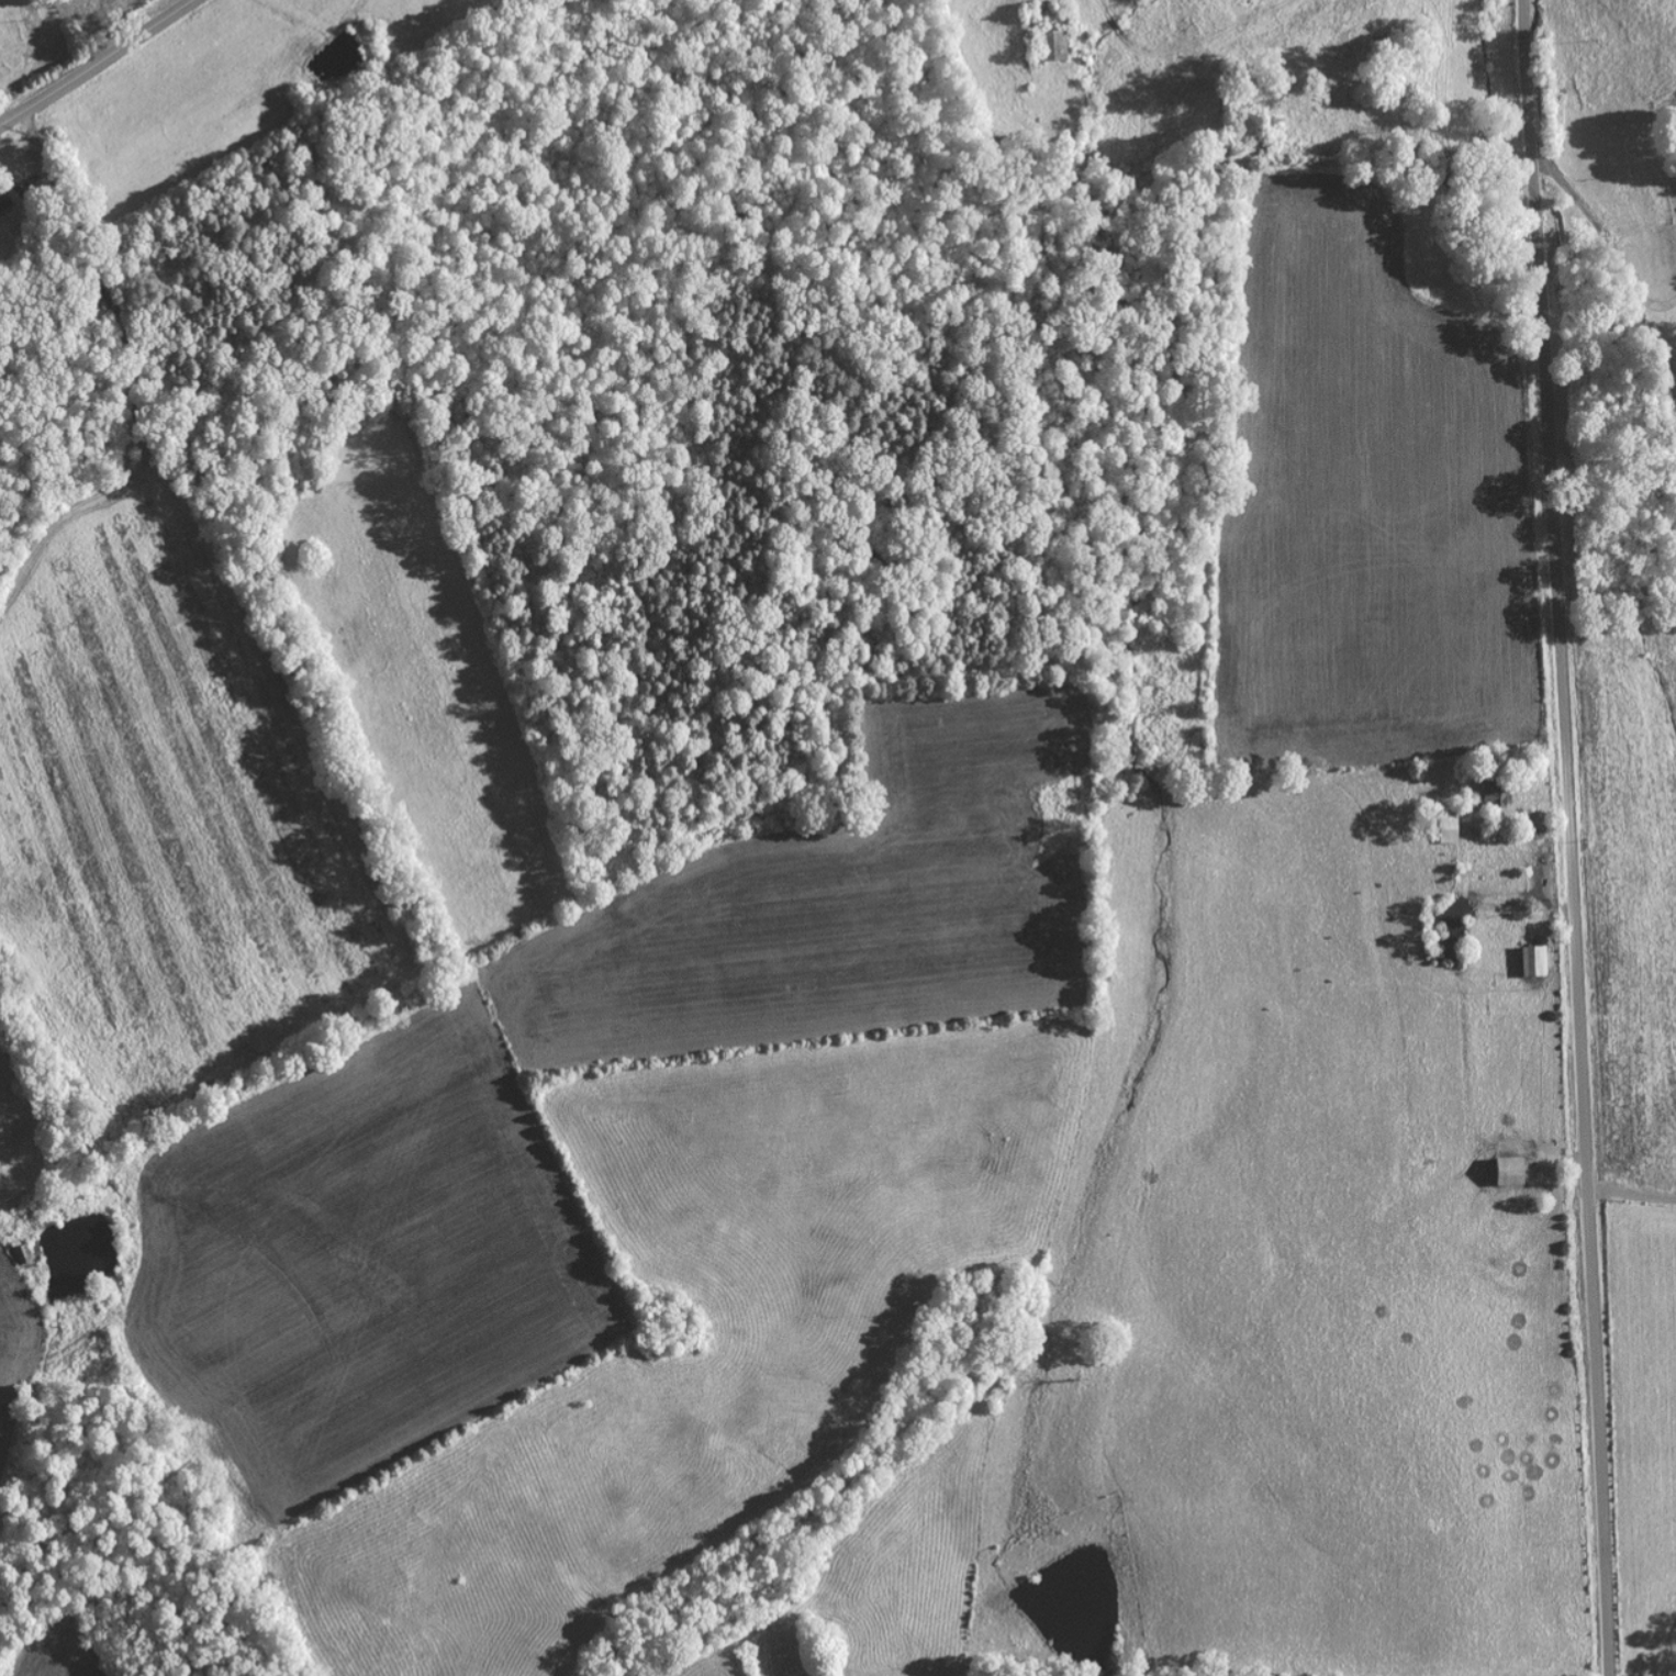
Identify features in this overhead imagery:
road: (98, 64)
building: (5, 201)
building: (1497, 794)
road: (1573, 837)
building: (1537, 961)
road: (1632, 1161)
building: (1516, 1172)

